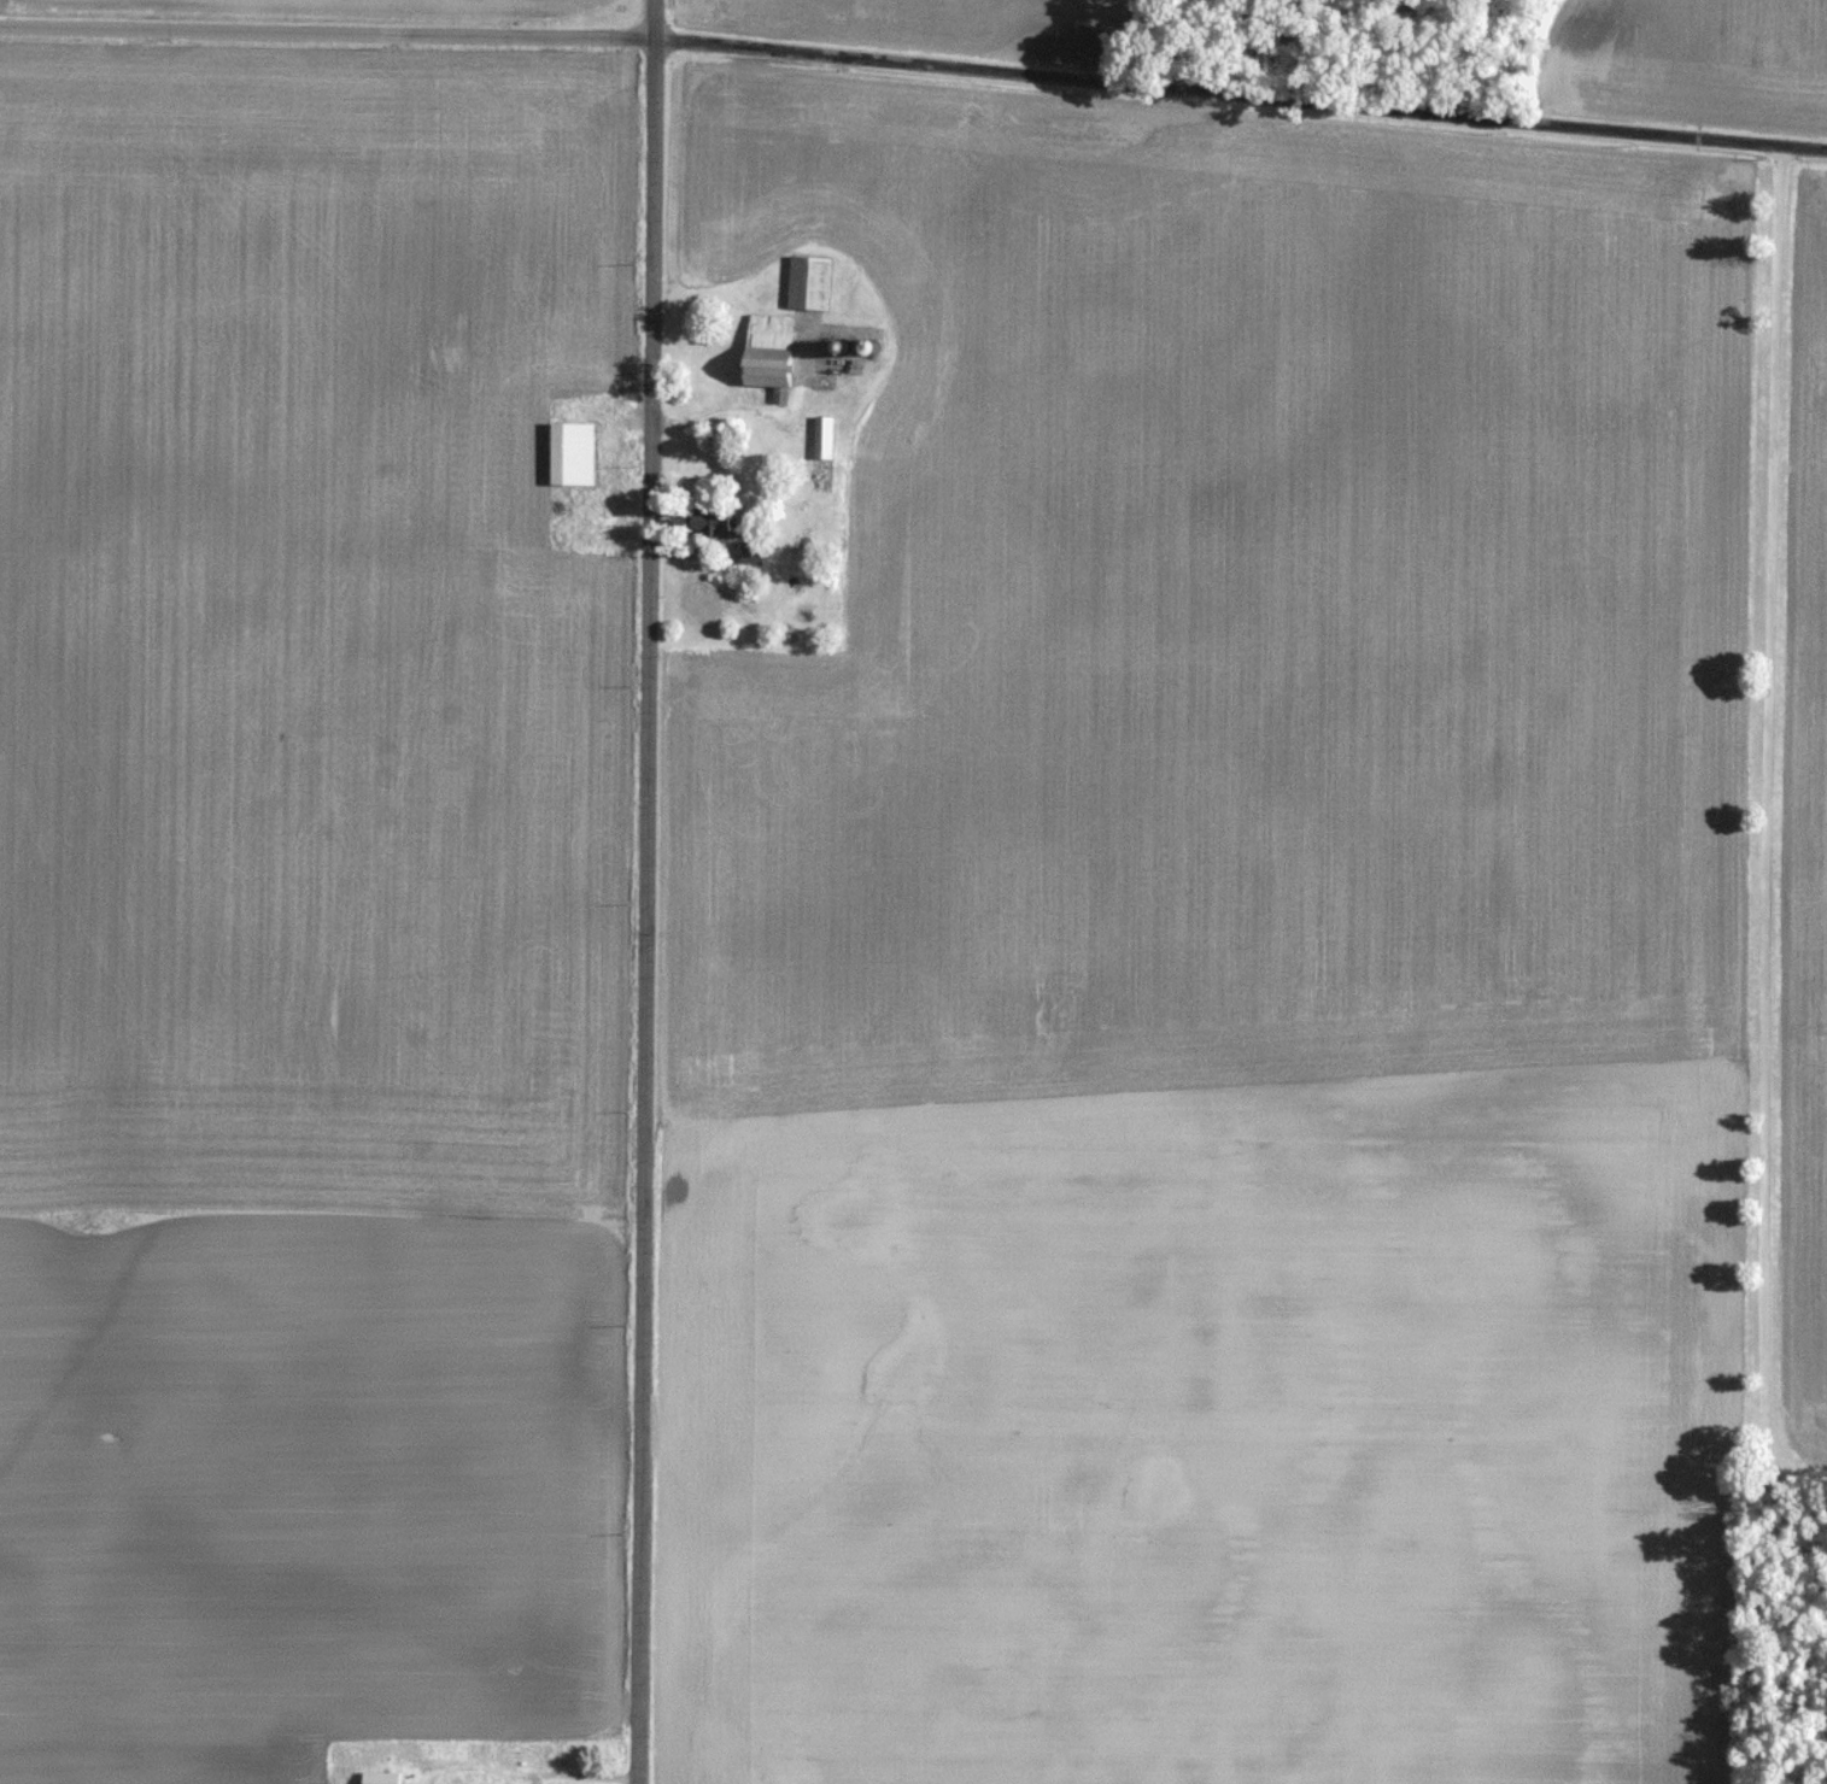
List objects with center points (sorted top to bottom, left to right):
road: (914, 66)
building: (761, 351)
building: (567, 451)
road: (1767, 849)
road: (639, 891)
road: (580, 1776)
building: (385, 1777)

